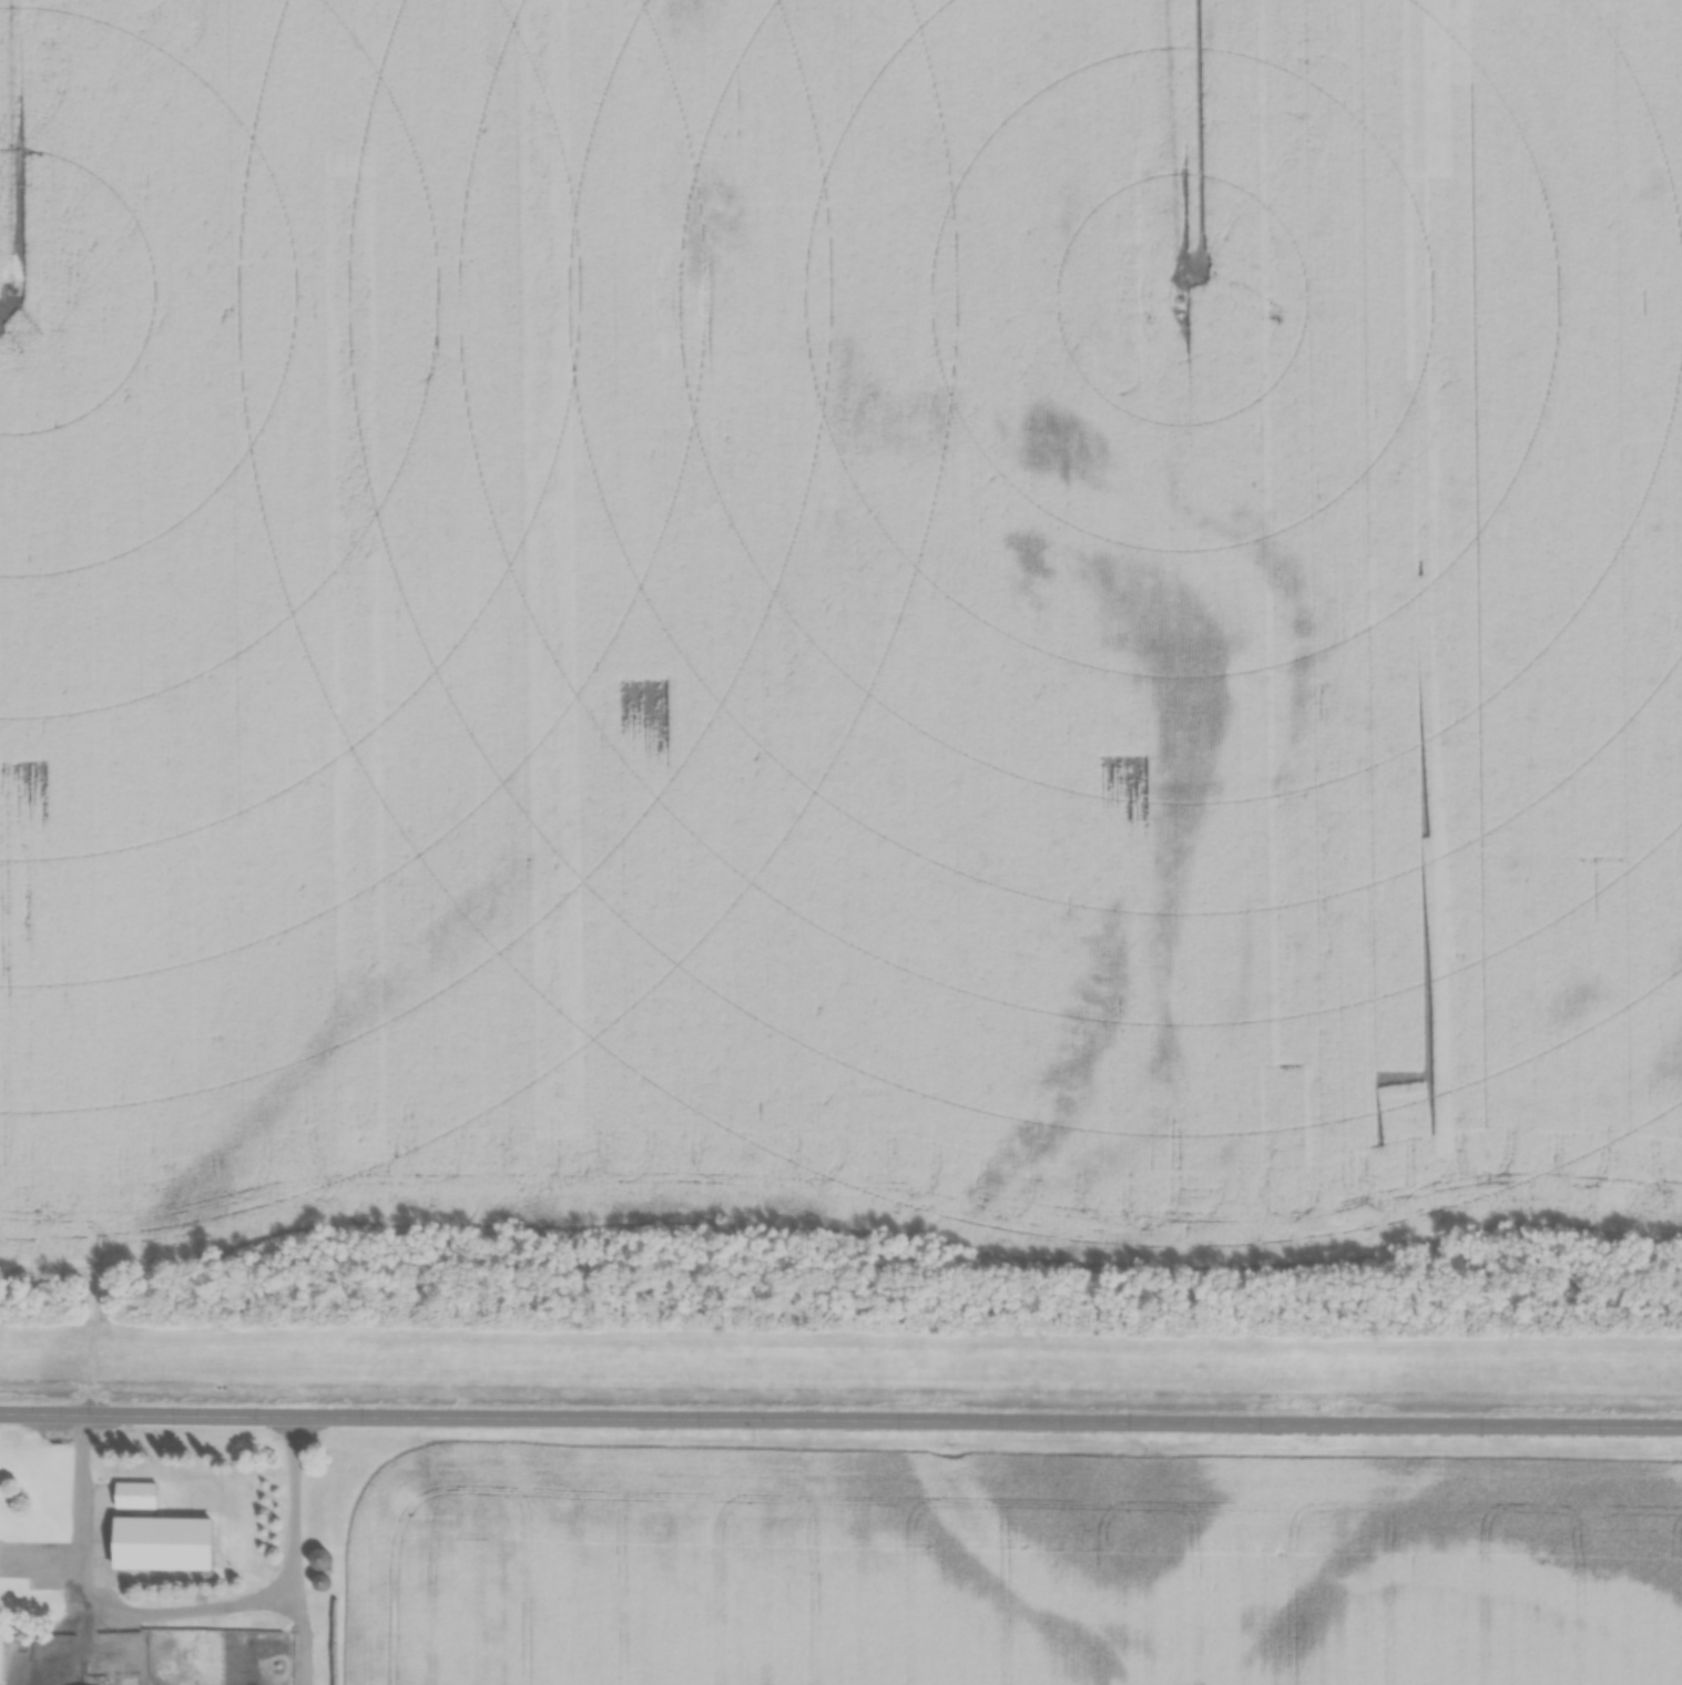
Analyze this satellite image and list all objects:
road: (840, 1415)
building: (134, 1492)
building: (164, 1544)
building: (315, 1559)
crop: (1009, 1566)
building: (322, 1615)
building: (31, 1664)

